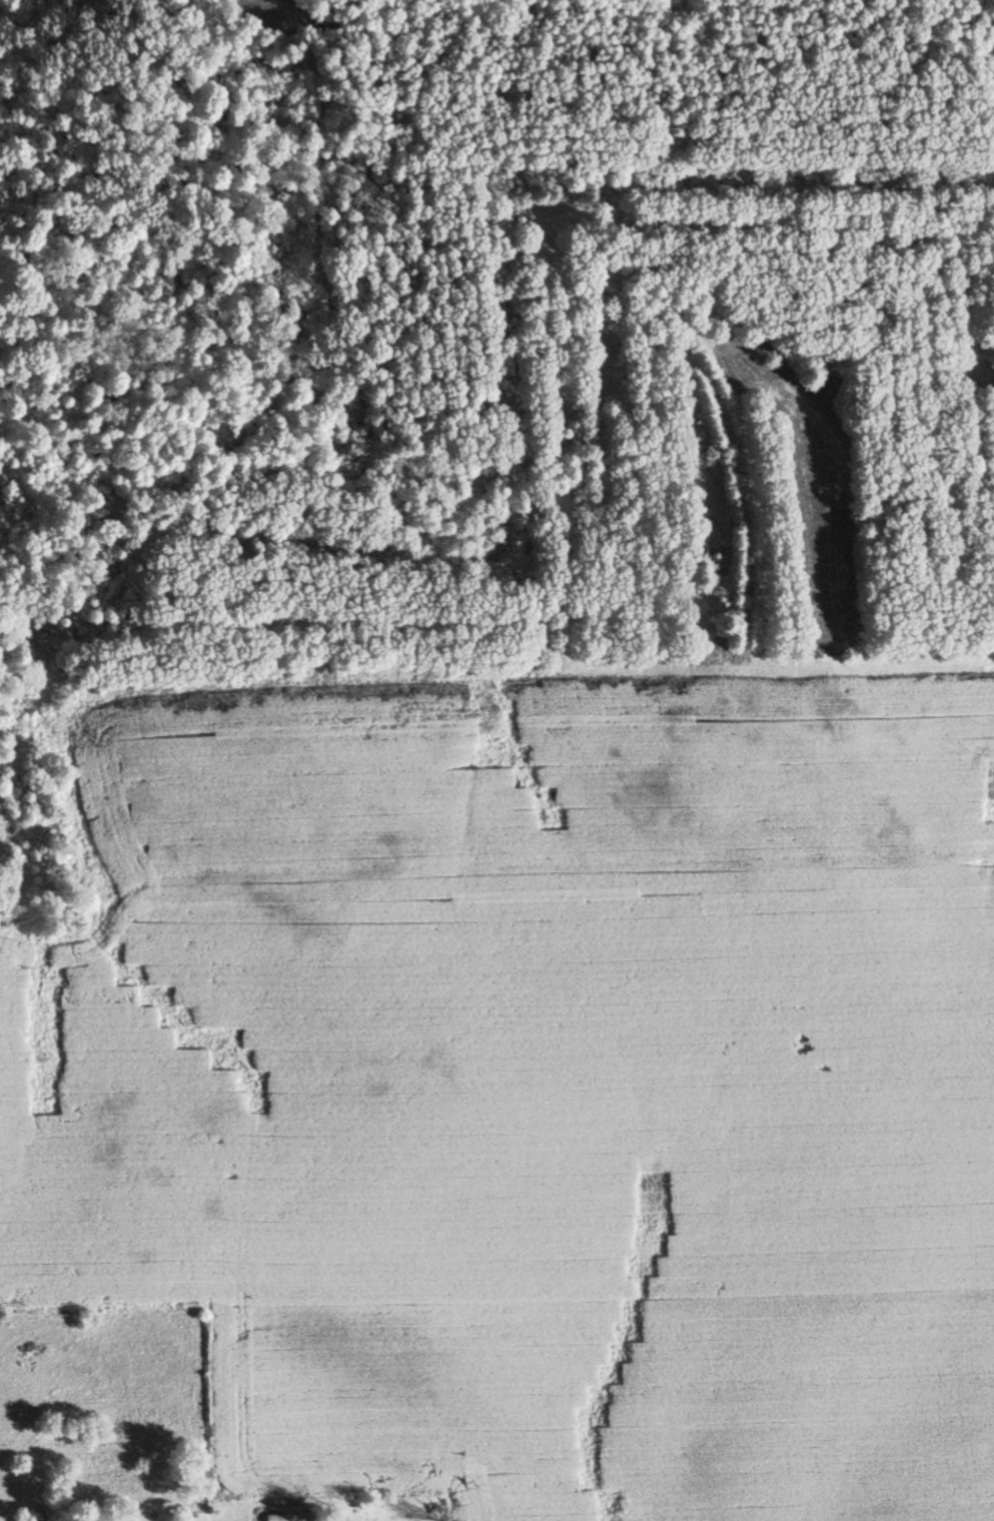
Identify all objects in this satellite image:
building: (278, 1517)

